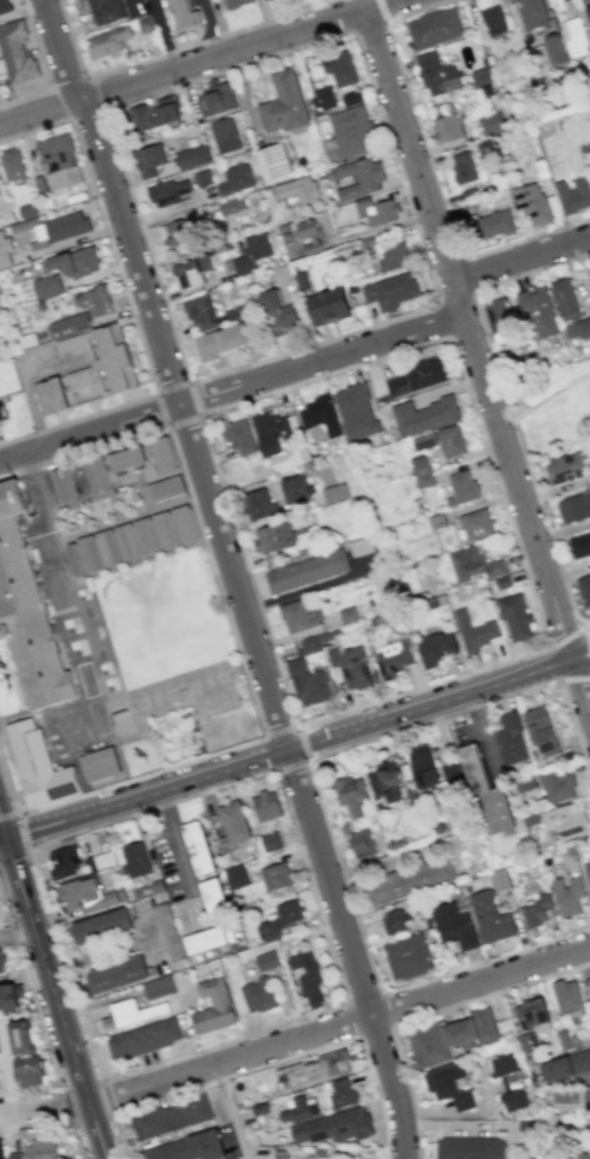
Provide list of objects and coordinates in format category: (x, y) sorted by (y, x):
building: (234, 2)
building: (5, 6)
building: (583, 8)
road: (382, 10)
building: (105, 11)
building: (534, 13)
building: (184, 14)
building: (493, 20)
building: (145, 23)
road: (369, 25)
road: (208, 28)
building: (433, 28)
building: (573, 36)
building: (107, 41)
building: (554, 48)
road: (169, 50)
building: (16, 53)
road: (197, 60)
road: (44, 67)
building: (340, 69)
building: (436, 75)
building: (481, 77)
road: (67, 81)
road: (96, 91)
building: (216, 99)
building: (323, 99)
road: (59, 103)
building: (282, 103)
road: (103, 108)
building: (154, 113)
road: (87, 114)
building: (490, 123)
building: (351, 126)
building: (446, 127)
building: (224, 135)
building: (192, 156)
building: (148, 160)
building: (59, 161)
building: (11, 164)
building: (273, 164)
building: (463, 167)
road: (431, 172)
building: (202, 178)
building: (358, 178)
building: (234, 179)
building: (297, 189)
building: (167, 191)
building: (573, 195)
building: (531, 203)
building: (231, 206)
building: (376, 210)
road: (103, 220)
building: (494, 224)
building: (66, 226)
building: (175, 232)
building: (308, 234)
building: (5, 250)
building: (251, 252)
road: (520, 255)
building: (75, 262)
building: (190, 271)
road: (473, 273)
building: (281, 274)
building: (46, 285)
building: (389, 291)
building: (565, 299)
road: (437, 303)
building: (328, 305)
building: (99, 311)
building: (199, 311)
building: (537, 311)
building: (279, 314)
building: (578, 328)
road: (449, 338)
building: (221, 341)
road: (477, 361)
building: (417, 378)
road: (231, 387)
road: (154, 391)
building: (49, 396)
road: (506, 403)
road: (552, 403)
building: (354, 411)
park: (555, 411)
building: (320, 415)
building: (423, 415)
road: (77, 418)
building: (273, 432)
building: (238, 436)
building: (427, 439)
building: (451, 440)
building: (162, 454)
building: (125, 458)
building: (564, 466)
building: (96, 475)
building: (422, 476)
building: (64, 485)
building: (461, 487)
building: (165, 489)
building: (297, 489)
building: (334, 493)
road: (189, 498)
building: (258, 504)
building: (573, 507)
building: (476, 524)
building: (281, 537)
building: (136, 539)
building: (579, 545)
building: (360, 546)
building: (73, 560)
building: (475, 563)
building: (305, 571)
road: (236, 576)
building: (583, 588)
building: (26, 613)
building: (298, 614)
building: (514, 617)
road: (580, 625)
road: (585, 628)
building: (472, 631)
road: (564, 638)
road: (586, 642)
road: (589, 642)
building: (435, 648)
road: (579, 652)
building: (392, 659)
road: (580, 661)
road: (554, 662)
building: (351, 666)
road: (574, 678)
park: (205, 680)
building: (306, 683)
park: (154, 697)
building: (541, 730)
road: (280, 731)
building: (511, 738)
road: (302, 742)
road: (290, 750)
building: (99, 763)
road: (291, 763)
building: (38, 766)
building: (423, 767)
road: (274, 771)
building: (452, 775)
building: (386, 781)
road: (114, 783)
building: (556, 785)
building: (487, 794)
building: (351, 795)
road: (321, 804)
building: (266, 806)
building: (565, 820)
road: (19, 822)
building: (232, 825)
road: (4, 826)
road: (4, 839)
traffic signals: (7, 839)
building: (269, 842)
building: (360, 843)
building: (197, 848)
building: (132, 860)
building: (62, 862)
building: (586, 870)
building: (236, 876)
building: (275, 876)
building: (499, 879)
building: (409, 880)
building: (81, 894)
building: (567, 894)
building: (214, 898)
building: (536, 910)
building: (489, 917)
building: (280, 920)
building: (393, 921)
building: (101, 926)
building: (453, 926)
building: (168, 931)
road: (17, 932)
building: (209, 938)
road: (96, 953)
building: (406, 956)
building: (266, 961)
building: (0, 962)
building: (115, 975)
building: (308, 977)
building: (589, 986)
building: (159, 987)
building: (257, 995)
building: (10, 997)
building: (567, 997)
road: (56, 998)
building: (213, 1006)
building: (531, 1012)
building: (127, 1014)
road: (424, 1015)
road: (40, 1018)
road: (389, 1026)
building: (20, 1036)
building: (451, 1036)
building: (142, 1039)
road: (297, 1039)
road: (273, 1063)
building: (565, 1063)
building: (502, 1064)
building: (315, 1069)
building: (26, 1070)
road: (81, 1084)
building: (448, 1086)
building: (342, 1093)
road: (107, 1098)
building: (585, 1099)
building: (514, 1100)
road: (66, 1105)
building: (299, 1109)
road: (232, 1112)
building: (169, 1117)
road: (91, 1118)
road: (54, 1124)
building: (333, 1127)
building: (0, 1148)
building: (40, 1148)
building: (186, 1148)
building: (469, 1148)
building: (280, 1153)
building: (14, 1155)
building: (580, 1155)

